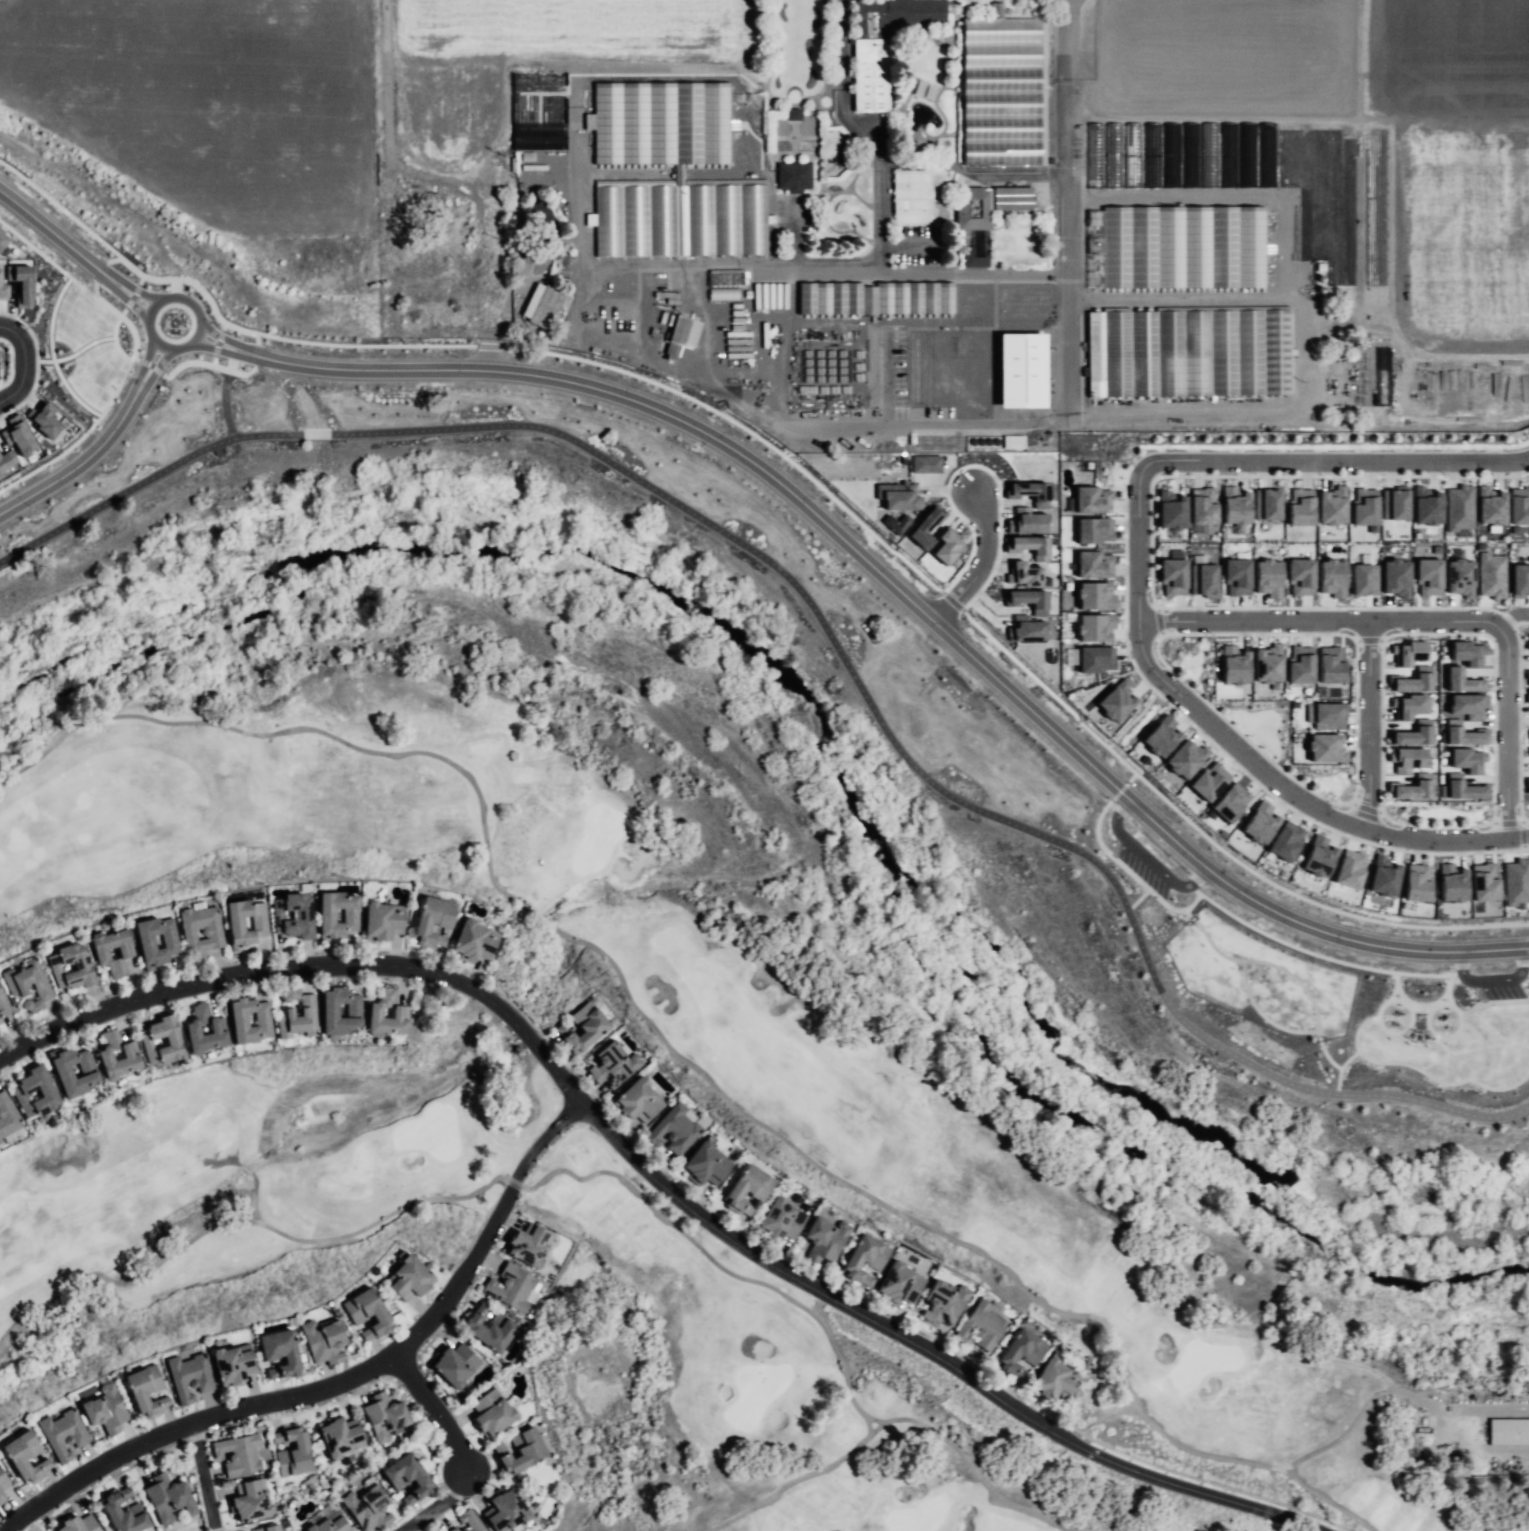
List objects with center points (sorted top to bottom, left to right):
building: (871, 77)
crop: (580, 90)
building: (1004, 93)
road: (389, 106)
building: (794, 117)
crop: (230, 119)
road: (873, 122)
building: (1208, 154)
building: (1226, 154)
building: (1245, 171)
building: (1131, 173)
building: (1187, 173)
building: (794, 178)
building: (1013, 196)
building: (916, 197)
road: (60, 208)
building: (973, 208)
road: (1063, 209)
building: (539, 210)
crop: (1184, 219)
building: (681, 221)
road: (45, 227)
building: (450, 235)
building: (2, 240)
building: (1182, 246)
road: (906, 248)
road: (47, 259)
building: (973, 259)
road: (105, 260)
building: (444, 261)
road: (729, 262)
road: (100, 272)
road: (972, 272)
building: (726, 277)
road: (93, 280)
road: (139, 280)
building: (20, 282)
building: (427, 285)
road: (172, 287)
road: (133, 290)
building: (3, 291)
road: (132, 296)
road: (161, 298)
building: (875, 298)
road: (127, 300)
building: (543, 306)
road: (126, 321)
road: (1, 324)
road: (1327, 324)
road: (221, 325)
road: (218, 335)
road: (282, 337)
road: (115, 340)
road: (217, 341)
building: (683, 341)
road: (259, 345)
road: (213, 347)
road: (487, 347)
road: (75, 352)
road: (625, 352)
road: (250, 353)
road: (486, 353)
road: (50, 354)
building: (1190, 356)
road: (213, 360)
road: (146, 361)
road: (22, 362)
road: (35, 362)
road: (200, 362)
road: (10, 363)
road: (155, 366)
road: (151, 367)
road: (253, 367)
building: (1021, 370)
road: (513, 371)
road: (883, 376)
road: (224, 393)
building: (44, 419)
road: (976, 425)
road: (742, 428)
building: (17, 435)
road: (80, 438)
building: (6, 458)
road: (83, 460)
road: (1342, 461)
building: (924, 463)
road: (977, 465)
road: (1276, 475)
building: (1027, 491)
building: (897, 494)
building: (1091, 499)
building: (1266, 504)
building: (1394, 504)
building: (1202, 505)
building: (1234, 505)
building: (1331, 505)
building: (1426, 505)
building: (1518, 505)
building: (1299, 506)
building: (1363, 506)
building: (1489, 506)
building: (1458, 507)
building: (1170, 510)
building: (895, 522)
building: (924, 527)
building: (1093, 529)
building: (946, 544)
building: (1032, 544)
building: (1094, 564)
road: (977, 565)
building: (1021, 573)
building: (1236, 574)
building: (1490, 575)
building: (1300, 576)
building: (1427, 576)
building: (1172, 577)
building: (1202, 577)
building: (1267, 577)
building: (1331, 577)
building: (1395, 577)
building: (1458, 577)
building: (1363, 579)
building: (1519, 579)
building: (1094, 595)
building: (1028, 598)
road: (951, 600)
road: (1434, 607)
road: (1510, 615)
road: (1318, 620)
road: (1157, 621)
road: (1521, 623)
building: (1094, 626)
building: (1024, 628)
road: (823, 629)
road: (1258, 633)
road: (1367, 638)
building: (1527, 642)
building: (1407, 652)
building: (1467, 652)
building: (1095, 658)
building: (1267, 663)
building: (1233, 664)
building: (1299, 664)
building: (1330, 665)
road: (1493, 671)
building: (1527, 679)
building: (1412, 680)
building: (1461, 680)
building: (1527, 696)
building: (1116, 700)
building: (1467, 705)
building: (1408, 706)
building: (1325, 715)
road: (1136, 717)
road: (1356, 719)
road: (1366, 725)
road: (1381, 725)
road: (1505, 731)
road: (1239, 732)
building: (1528, 733)
building: (1412, 734)
building: (1460, 734)
building: (1160, 736)
road: (1110, 743)
road: (1230, 743)
building: (1325, 748)
building: (1528, 751)
building: (1183, 759)
building: (1406, 759)
building: (1466, 759)
road: (1132, 776)
road: (1101, 778)
building: (1208, 781)
building: (1527, 787)
building: (1410, 788)
building: (1462, 788)
road: (1118, 790)
building: (1230, 802)
road: (1364, 808)
building: (1259, 822)
road: (1507, 823)
road: (1525, 823)
road: (1317, 824)
road: (1433, 825)
road: (1522, 833)
road: (1528, 836)
road: (1528, 837)
road: (1209, 840)
building: (1285, 840)
road: (1523, 847)
road: (1526, 849)
building: (1318, 856)
road: (1147, 858)
parking lot: (1140, 861)
building: (1349, 868)
road: (1128, 874)
building: (1383, 876)
building: (1483, 881)
building: (1516, 881)
building: (1416, 882)
building: (1451, 883)
road: (1136, 900)
building: (310, 916)
building: (329, 919)
building: (435, 920)
building: (382, 922)
building: (246, 923)
building: (214, 933)
building: (476, 941)
building: (149, 944)
building: (125, 952)
road: (1317, 954)
building: (83, 967)
road: (1281, 968)
road: (1525, 970)
road: (1490, 976)
building: (29, 985)
road: (1395, 985)
road: (1447, 989)
road: (1399, 994)
road: (1440, 999)
road: (1503, 1000)
building: (4, 1003)
park: (1348, 1006)
building: (332, 1007)
road: (1419, 1008)
road: (1469, 1009)
building: (388, 1014)
road: (1427, 1014)
road: (1261, 1015)
building: (298, 1016)
building: (252, 1019)
road: (1410, 1023)
building: (1, 1025)
building: (206, 1029)
building: (587, 1029)
road: (1416, 1035)
building: (163, 1040)
building: (118, 1056)
building: (615, 1064)
road: (1340, 1068)
road: (1423, 1072)
road: (707, 1073)
building: (66, 1075)
park: (703, 1091)
building: (21, 1092)
building: (639, 1100)
building: (7, 1116)
building: (679, 1129)
building: (0, 1140)
building: (708, 1164)
road: (579, 1179)
road: (656, 1179)
building: (751, 1189)
building: (785, 1220)
building: (827, 1238)
building: (533, 1248)
building: (865, 1259)
building: (412, 1280)
building: (903, 1284)
building: (511, 1287)
building: (946, 1303)
building: (368, 1314)
building: (983, 1326)
building: (495, 1333)
building: (325, 1341)
building: (283, 1349)
building: (1022, 1353)
building: (456, 1364)
building: (233, 1365)
building: (190, 1374)
road: (343, 1376)
building: (1057, 1381)
building: (146, 1391)
building: (106, 1409)
road: (434, 1414)
building: (494, 1414)
building: (385, 1417)
road: (866, 1428)
building: (1510, 1433)
building: (65, 1434)
building: (341, 1438)
building: (295, 1452)
building: (525, 1452)
building: (239, 1454)
road: (1504, 1455)
building: (26, 1456)
road: (204, 1471)
road: (801, 1476)
building: (3, 1477)
building: (409, 1477)
building: (1, 1497)
building: (168, 1498)
road: (1328, 1498)
building: (250, 1501)
road: (435, 1502)
building: (370, 1509)
building: (125, 1512)
building: (510, 1512)
building: (471, 1520)
building: (79, 1524)
building: (330, 1526)
building: (268, 1527)
building: (244, 1530)
building: (456, 1530)

